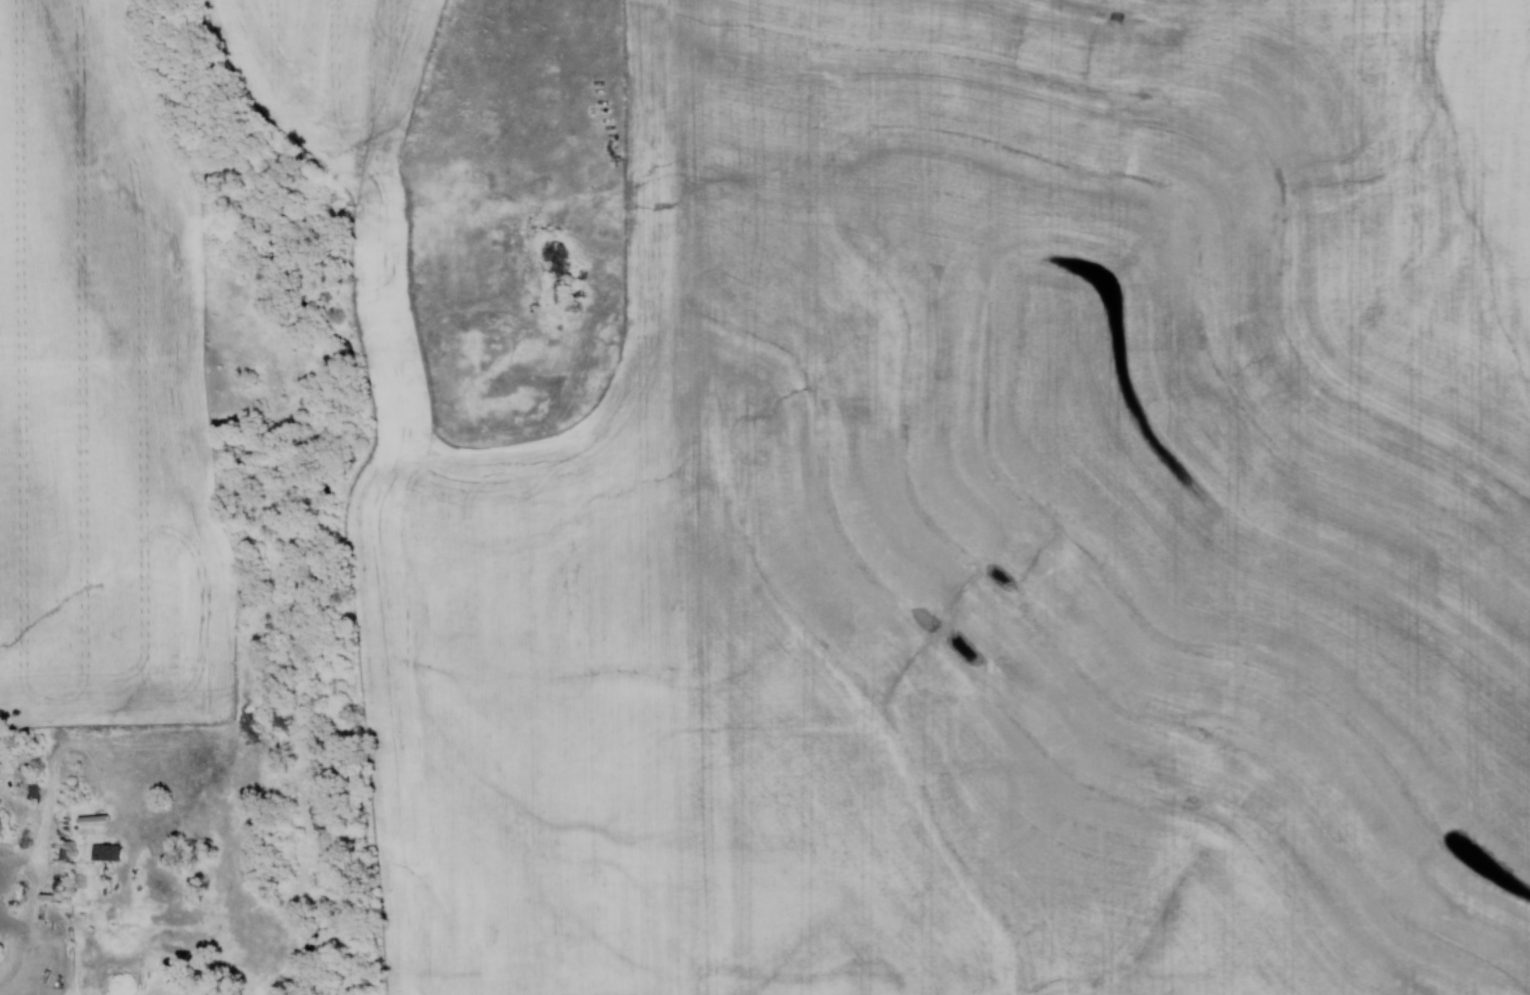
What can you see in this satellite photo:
building: (564, 290)
building: (107, 852)

